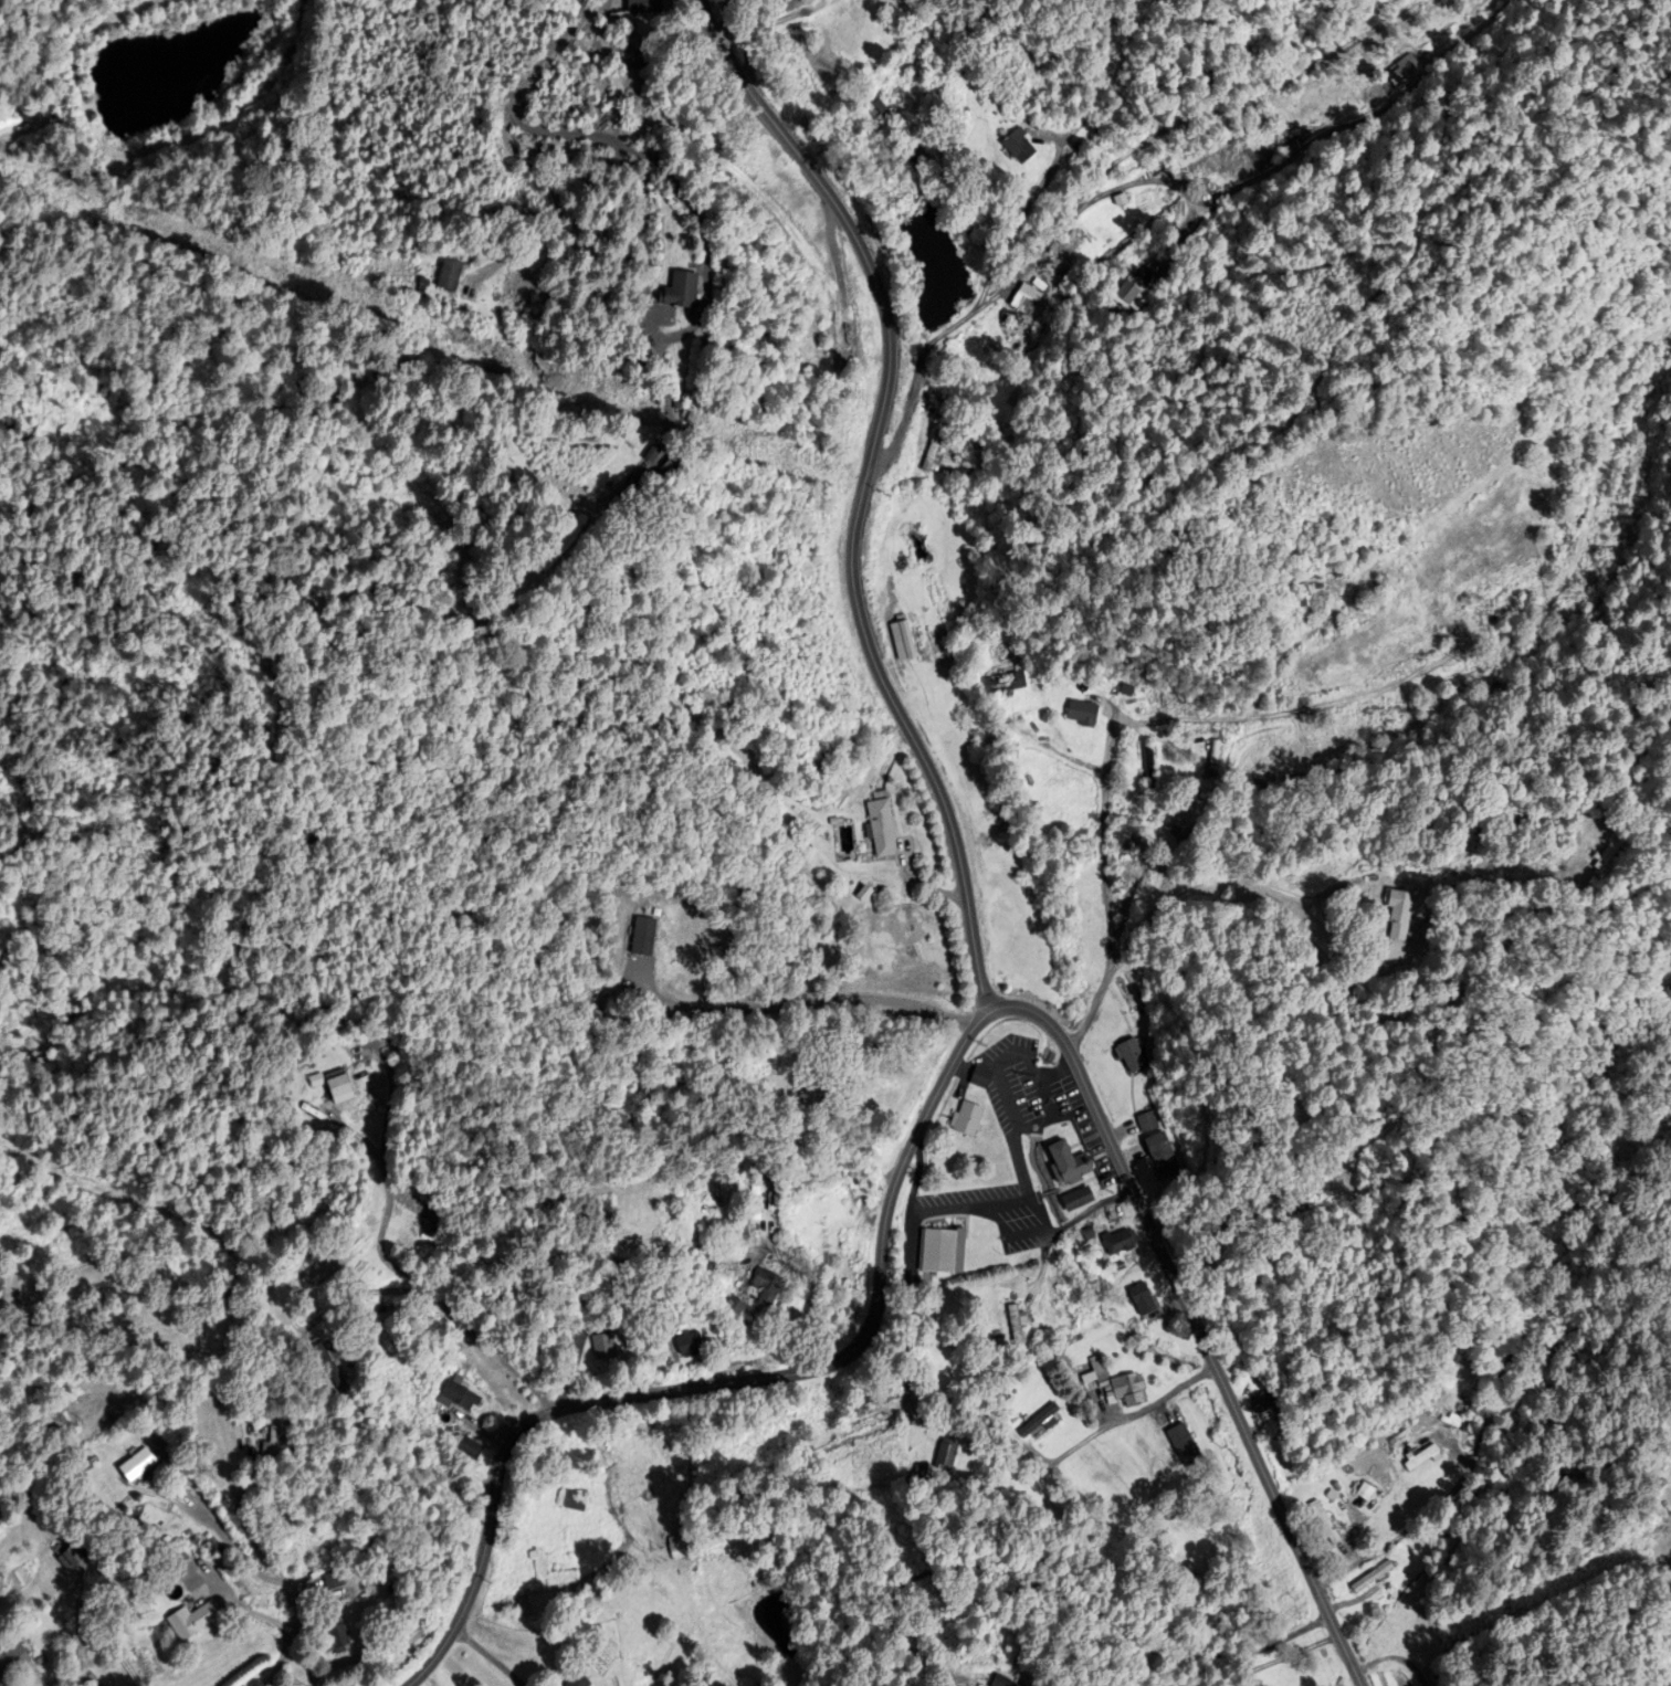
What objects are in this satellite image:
building: (648, 7)
road: (721, 18)
building: (891, 104)
building: (14, 123)
road: (551, 133)
building: (1024, 147)
building: (453, 275)
building: (684, 291)
building: (1013, 318)
road: (922, 357)
building: (933, 452)
building: (677, 466)
road: (862, 493)
building: (1310, 594)
building: (904, 641)
building: (1006, 684)
building: (1084, 714)
building: (1149, 767)
building: (883, 829)
road: (1105, 839)
building: (1617, 854)
road: (1191, 886)
road: (1617, 898)
building: (1401, 917)
building: (1129, 1056)
building: (984, 1079)
building: (818, 1090)
building: (346, 1092)
building: (970, 1120)
building: (1147, 1123)
building: (1163, 1155)
building: (1071, 1163)
building: (1080, 1200)
building: (938, 1236)
building: (1121, 1243)
road: (389, 1262)
road: (882, 1264)
building: (773, 1290)
building: (1145, 1300)
road: (1520, 1302)
building: (737, 1310)
building: (1018, 1326)
building: (692, 1345)
building: (606, 1349)
building: (332, 1366)
building: (1132, 1392)
building: (460, 1399)
road: (1142, 1416)
building: (1038, 1422)
building: (276, 1444)
building: (470, 1448)
building: (944, 1456)
building: (1176, 1463)
building: (140, 1468)
building: (85, 1469)
building: (1367, 1496)
building: (576, 1503)
building: (1423, 1508)
road: (242, 1524)
building: (1328, 1524)
road: (1286, 1527)
building: (680, 1548)
building: (561, 1566)
building: (1374, 1579)
building: (192, 1580)
building: (337, 1580)
road: (1054, 1593)
road: (297, 1620)
building: (196, 1621)
building: (338, 1636)
road: (488, 1656)
building: (13, 1662)
building: (579, 1680)
building: (1007, 1680)
road: (1670, 1684)

